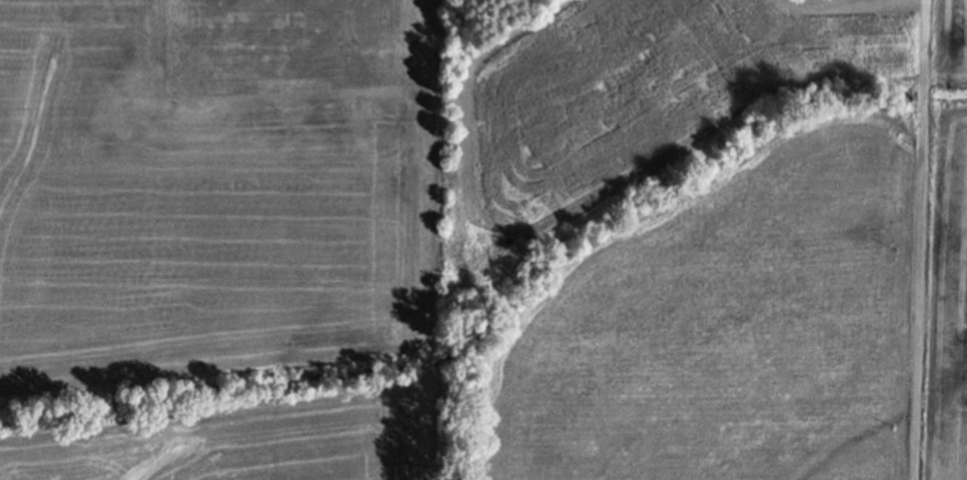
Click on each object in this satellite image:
road: (925, 240)

